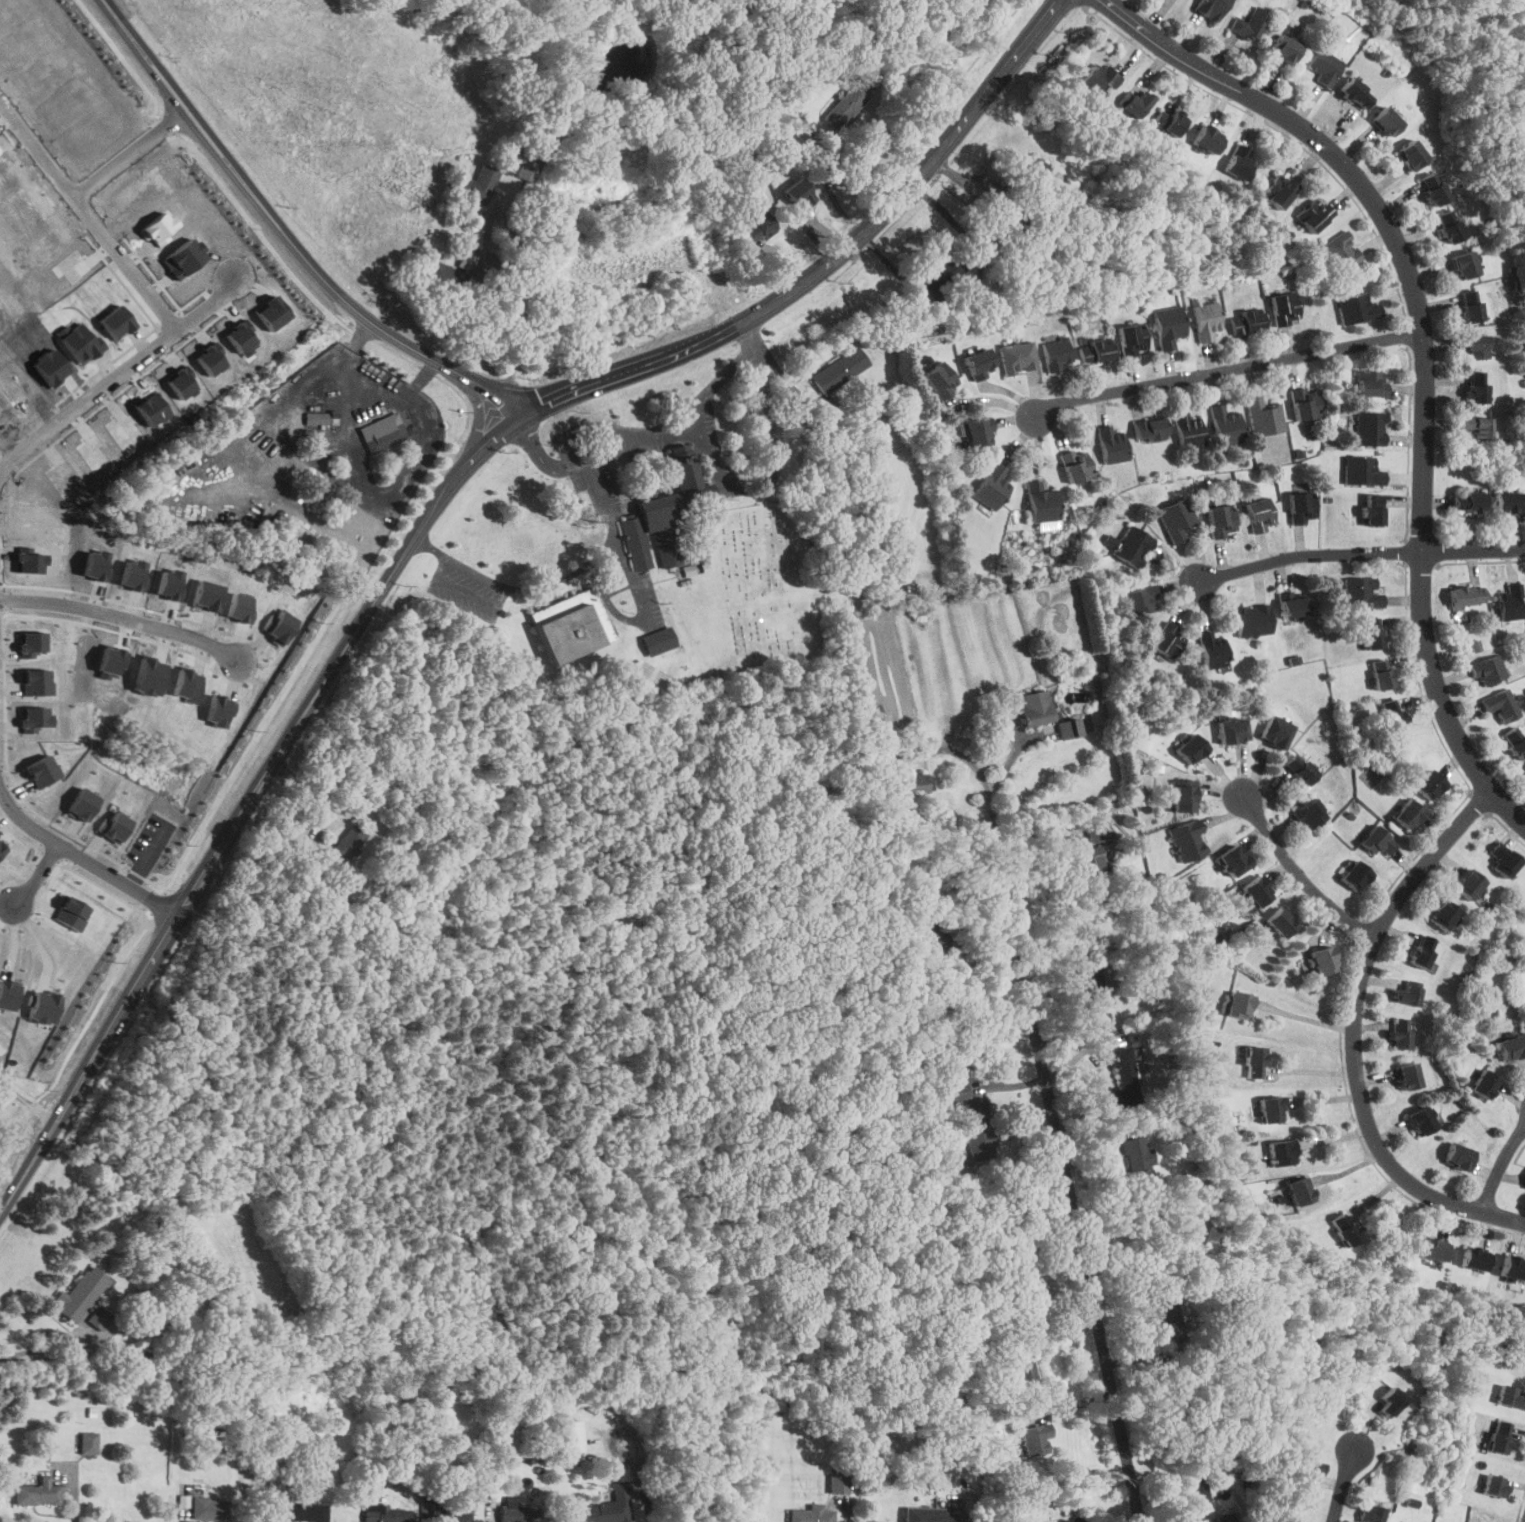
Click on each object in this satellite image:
building: (1211, 8)
building: (1251, 24)
building: (1285, 49)
building: (1325, 66)
building: (1096, 79)
building: (1356, 93)
building: (1134, 103)
building: (846, 105)
building: (1170, 121)
building: (1387, 121)
building: (1208, 139)
road: (130, 151)
building: (1412, 155)
building: (1238, 162)
building: (528, 171)
building: (1034, 172)
building: (474, 184)
building: (1433, 189)
building: (1278, 191)
building: (798, 194)
building: (1314, 214)
road: (508, 222)
building: (1450, 226)
building: (757, 227)
road: (286, 235)
road: (112, 246)
building: (1341, 252)
road: (829, 263)
building: (1465, 264)
building: (943, 275)
building: (1471, 305)
building: (1285, 307)
building: (1357, 308)
building: (1206, 319)
building: (1247, 321)
building: (1167, 325)
road: (747, 335)
building: (1132, 338)
building: (1477, 347)
building: (1095, 350)
road: (1425, 351)
building: (1055, 353)
building: (1018, 355)
building: (979, 362)
building: (839, 369)
road: (1229, 369)
building: (941, 379)
road: (369, 382)
road: (717, 382)
building: (1372, 383)
building: (1477, 386)
road: (85, 400)
building: (1305, 403)
building: (1265, 416)
building: (317, 418)
traffic signals: (518, 418)
building: (1226, 425)
building: (1478, 426)
building: (1370, 428)
building: (1149, 429)
building: (1188, 430)
building: (977, 431)
building: (382, 432)
road: (9, 439)
building: (1111, 445)
road: (594, 452)
building: (1076, 464)
road: (771, 468)
building: (1362, 470)
building: (992, 486)
building: (1509, 500)
building: (1471, 501)
road: (607, 502)
building: (665, 505)
building: (1043, 505)
building: (1302, 506)
building: (1372, 509)
building: (206, 513)
building: (1259, 514)
building: (1175, 518)
building: (1220, 520)
building: (1129, 544)
road: (431, 547)
building: (666, 547)
road: (1361, 552)
road: (476, 572)
road: (558, 581)
park: (773, 588)
building: (1362, 591)
road: (465, 593)
building: (1467, 595)
building: (1140, 600)
building: (1510, 602)
building: (1293, 605)
road: (120, 618)
building: (1253, 619)
building: (571, 625)
building: (1373, 632)
building: (1167, 639)
building: (657, 640)
building: (32, 643)
building: (1212, 649)
building: (1487, 670)
building: (1383, 673)
building: (36, 682)
building: (1501, 705)
building: (1035, 708)
building: (871, 713)
building: (1392, 714)
building: (34, 718)
building: (1069, 728)
building: (1232, 729)
building: (1276, 731)
building: (1516, 741)
building: (1191, 748)
road: (1009, 758)
building: (1300, 769)
building: (43, 771)
building: (911, 784)
building: (1430, 784)
building: (1184, 795)
building: (82, 804)
road: (246, 807)
building: (1309, 814)
building: (1408, 814)
building: (115, 827)
building: (1099, 831)
road: (1027, 836)
building: (1377, 840)
building: (1187, 841)
building: (347, 843)
road: (996, 843)
building: (1, 849)
road: (81, 857)
building: (1087, 858)
building: (1504, 859)
building: (1233, 860)
road: (1298, 869)
road: (37, 874)
building: (1356, 875)
building: (1469, 883)
building: (1258, 890)
building: (71, 913)
building: (1443, 914)
building: (1281, 922)
road: (973, 926)
building: (931, 940)
building: (1422, 950)
building: (1324, 960)
building: (1092, 993)
building: (1406, 994)
building: (7, 995)
building: (1239, 1004)
building: (43, 1007)
road: (1304, 1018)
road: (1351, 1029)
building: (1400, 1033)
building: (1511, 1047)
building: (1255, 1062)
building: (1409, 1076)
building: (1122, 1077)
building: (1484, 1083)
road: (27, 1101)
building: (1271, 1109)
building: (1421, 1121)
building: (977, 1129)
building: (1283, 1152)
building: (1458, 1156)
building: (1137, 1163)
road: (1501, 1166)
building: (1300, 1191)
building: (1345, 1228)
building: (1434, 1249)
building: (1475, 1259)
road: (1084, 1265)
building: (1513, 1268)
building: (1014, 1280)
building: (84, 1298)
building: (1166, 1311)
building: (151, 1356)
building: (1022, 1368)
building: (1510, 1397)
building: (1390, 1402)
building: (571, 1437)
building: (1500, 1437)
building: (1035, 1439)
building: (88, 1442)
building: (1311, 1469)
road: (637, 1479)
road: (1347, 1481)
building: (840, 1482)
building: (1494, 1485)
building: (37, 1493)
building: (1199, 1494)
building: (609, 1507)
building: (209, 1508)
building: (300, 1512)
building: (521, 1513)
building: (386, 1514)
building: (811, 1514)
building: (1371, 1514)
building: (930, 1515)
road: (850, 1516)
building: (452, 1517)
building: (1225, 1517)

